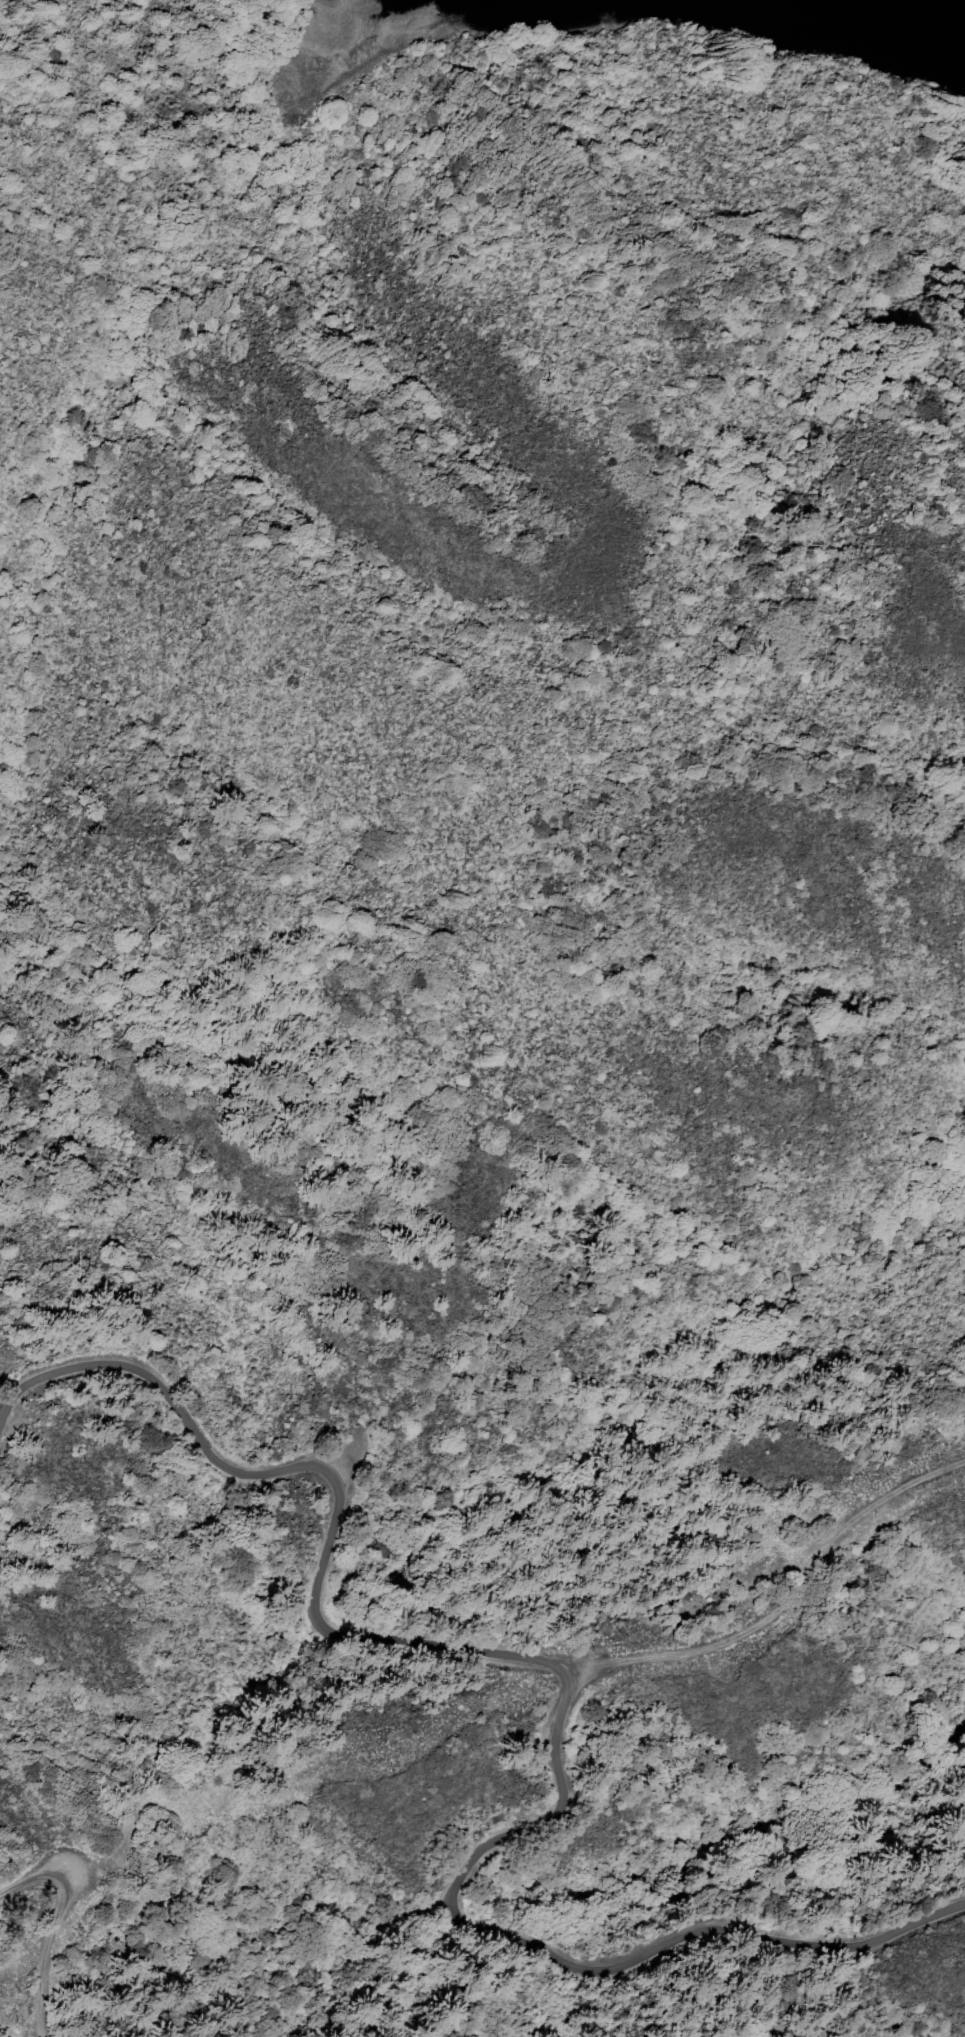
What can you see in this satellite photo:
road: (783, 1602)
road: (562, 1675)
road: (62, 1924)

